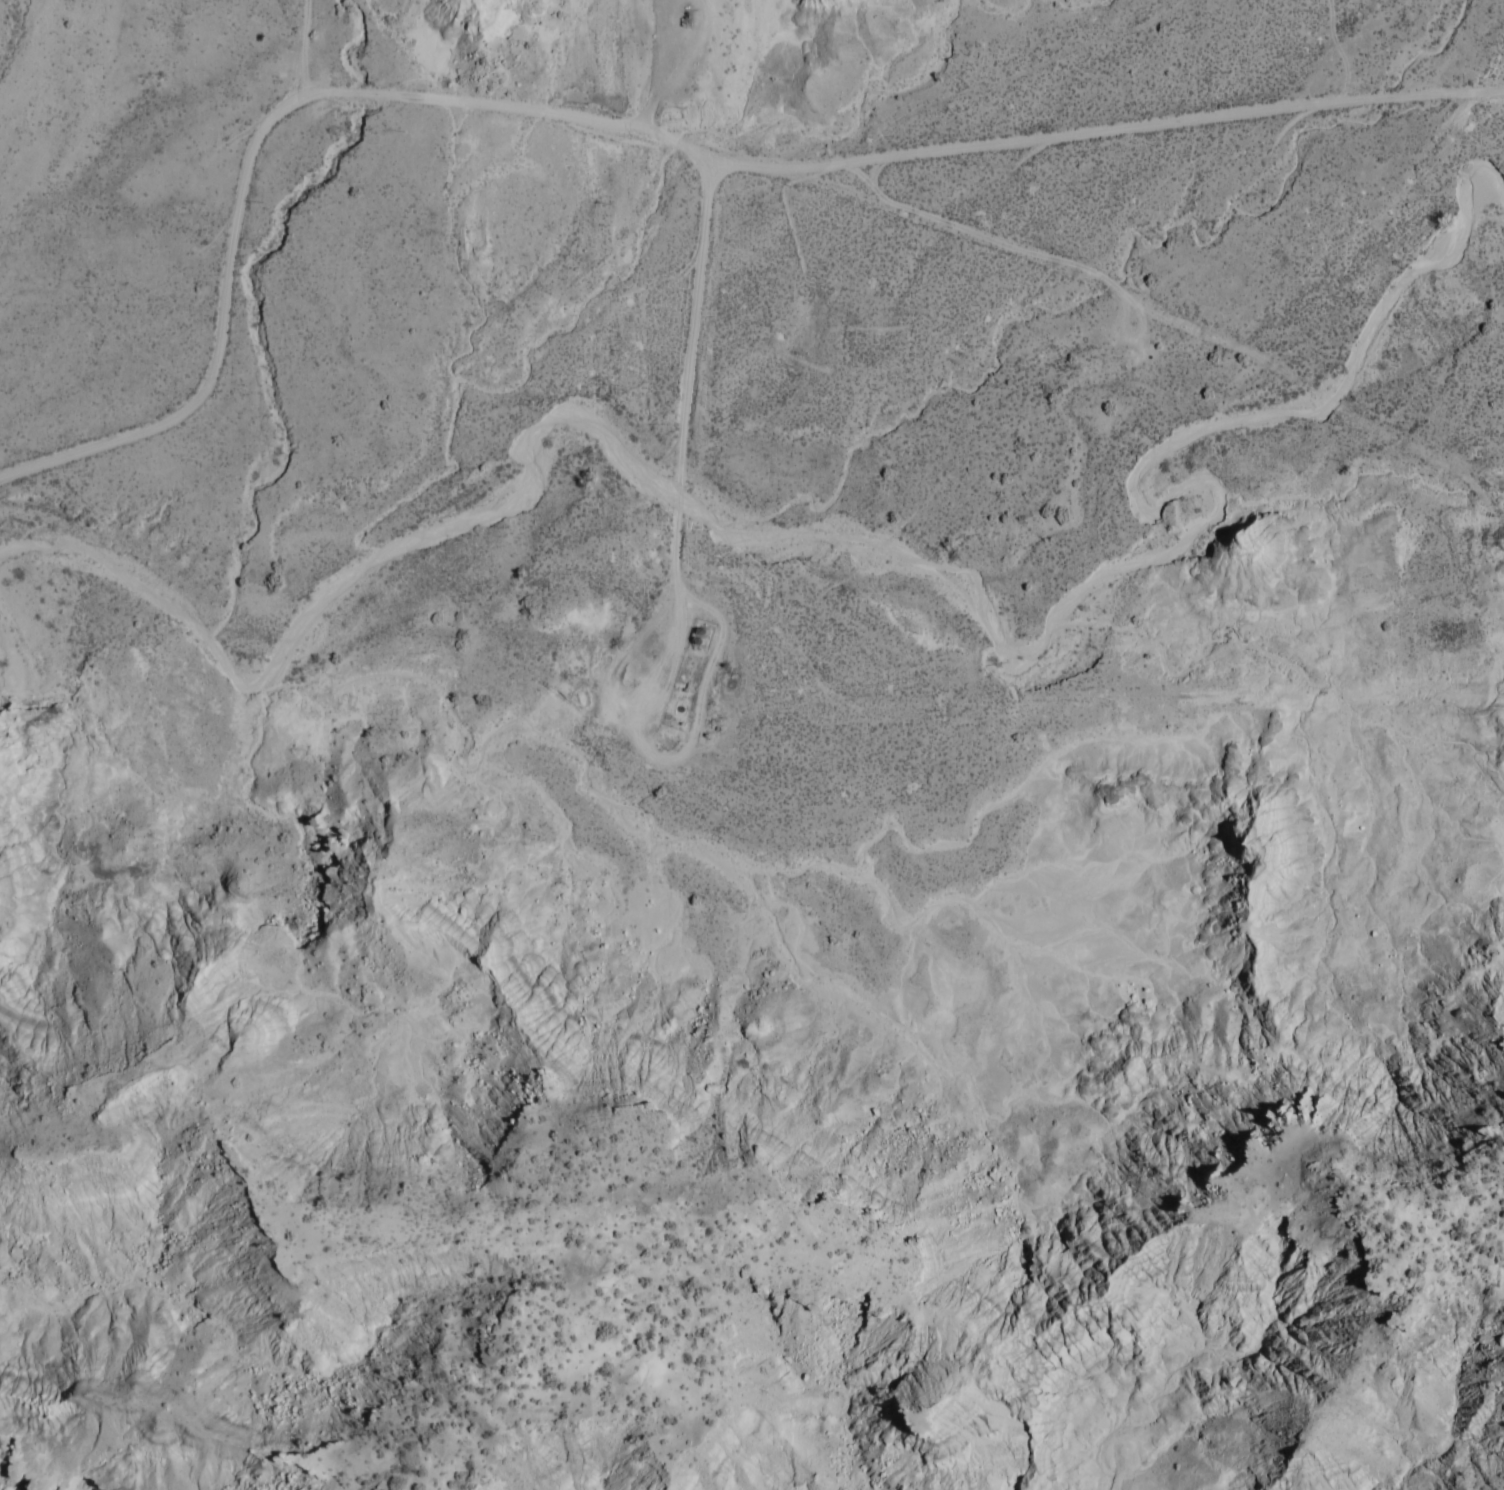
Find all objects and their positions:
road: (588, 127)
river: (833, 554)
river: (55, 630)

